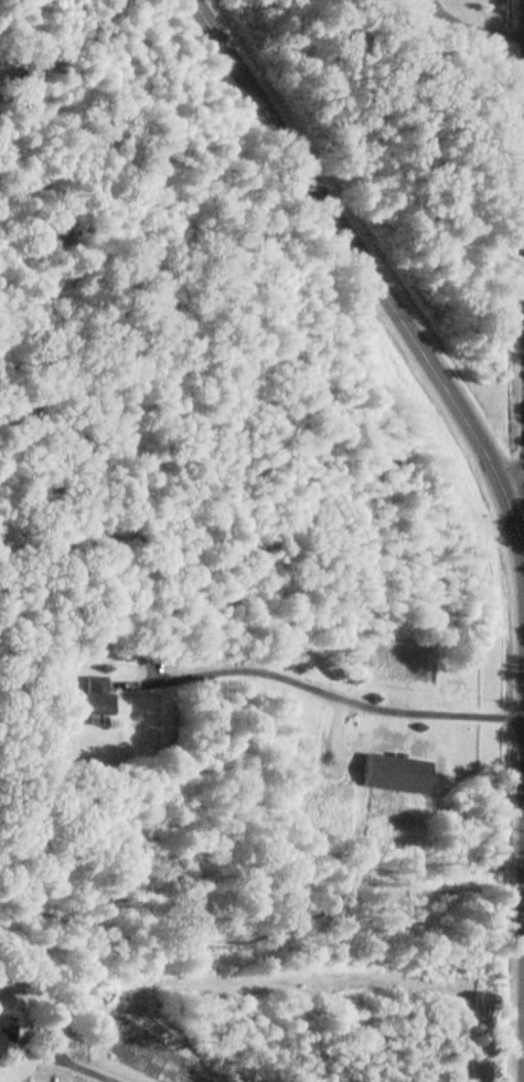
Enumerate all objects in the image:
road: (456, 24)
road: (362, 264)
road: (523, 491)
road: (523, 625)
road: (322, 693)
building: (95, 697)
building: (395, 773)
building: (6, 1032)
road: (77, 1071)

